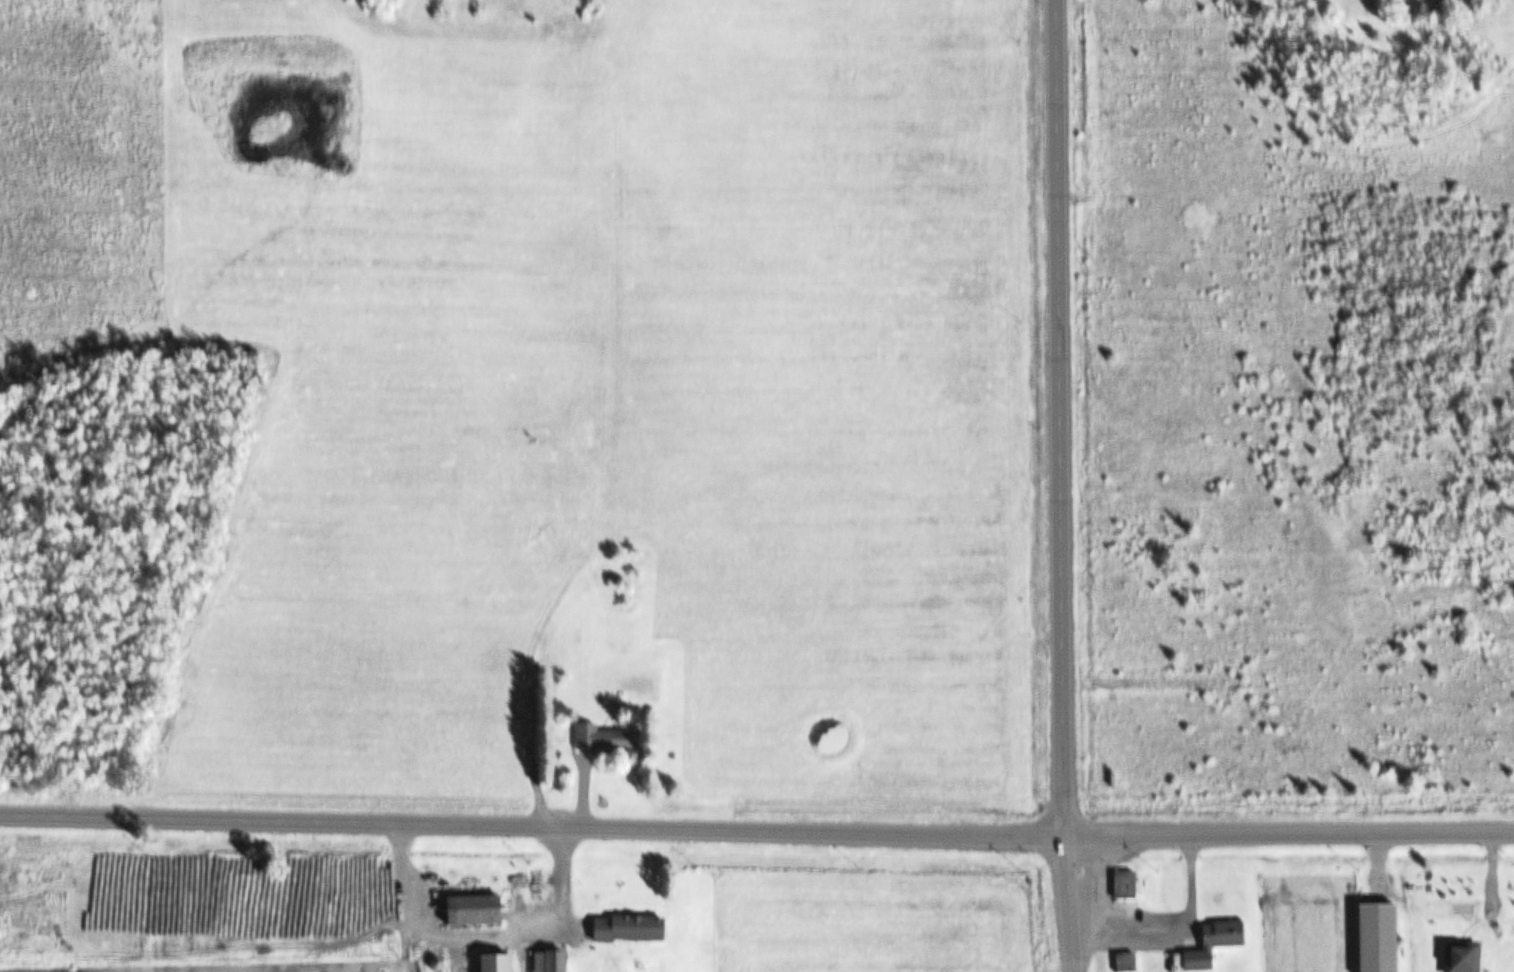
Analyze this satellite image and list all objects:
road: (1060, 486)
building: (609, 740)
road: (756, 829)
building: (1127, 886)
building: (479, 913)
building: (634, 929)
building: (1382, 937)
building: (1217, 944)
building: (1467, 957)
building: (560, 961)
building: (500, 963)

